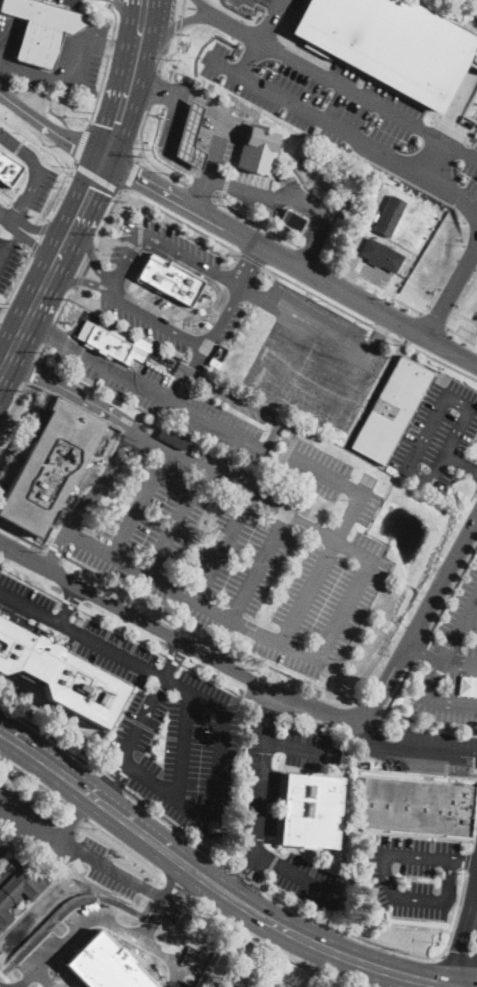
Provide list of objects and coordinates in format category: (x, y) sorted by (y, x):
parking lot: (70, 2)
road: (107, 2)
road: (179, 7)
road: (204, 7)
road: (237, 14)
road: (270, 17)
road: (116, 18)
road: (128, 18)
road: (268, 20)
road: (138, 21)
road: (172, 23)
road: (177, 24)
road: (464, 27)
road: (235, 28)
building: (42, 29)
building: (386, 44)
road: (6, 45)
road: (107, 46)
road: (135, 46)
road: (110, 47)
road: (168, 53)
road: (250, 58)
parking lot: (59, 60)
road: (55, 77)
road: (154, 87)
road: (153, 89)
road: (99, 92)
road: (368, 101)
road: (203, 102)
road: (453, 107)
parking lot: (346, 111)
parking lot: (476, 114)
road: (468, 116)
road: (51, 126)
road: (341, 129)
building: (190, 137)
gas station: (190, 137)
road: (113, 142)
road: (474, 144)
road: (81, 145)
road: (165, 145)
road: (18, 146)
road: (217, 146)
building: (258, 148)
parking lot: (231, 152)
road: (144, 154)
road: (474, 154)
road: (139, 156)
road: (432, 158)
road: (235, 159)
road: (43, 160)
traffic signals: (104, 161)
building: (8, 169)
road: (35, 173)
road: (131, 175)
road: (96, 176)
parking lot: (37, 186)
road: (239, 186)
road: (60, 192)
road: (200, 192)
road: (12, 193)
road: (200, 194)
road: (141, 212)
road: (272, 215)
road: (318, 215)
building: (390, 215)
road: (77, 216)
road: (6, 218)
road: (105, 219)
road: (178, 219)
building: (292, 221)
road: (256, 223)
road: (46, 226)
road: (120, 230)
road: (180, 232)
road: (39, 237)
road: (31, 244)
road: (8, 250)
road: (89, 253)
building: (381, 255)
road: (91, 256)
parking lot: (8, 259)
road: (251, 259)
road: (290, 262)
road: (125, 264)
road: (247, 264)
road: (85, 268)
road: (219, 275)
road: (353, 275)
building: (170, 278)
road: (17, 279)
road: (79, 280)
road: (78, 281)
road: (138, 282)
road: (451, 287)
parking lot: (120, 288)
road: (63, 302)
road: (460, 303)
road: (408, 305)
road: (2, 310)
road: (214, 313)
road: (195, 315)
road: (12, 318)
road: (156, 320)
road: (434, 320)
road: (304, 322)
road: (369, 323)
road: (465, 328)
road: (49, 332)
road: (460, 336)
road: (50, 337)
building: (112, 344)
road: (39, 351)
building: (160, 354)
road: (199, 358)
parking lot: (316, 359)
road: (314, 369)
road: (30, 370)
road: (366, 371)
road: (176, 378)
road: (73, 393)
road: (170, 400)
road: (296, 402)
parking lot: (191, 403)
road: (249, 403)
road: (13, 405)
building: (392, 408)
building: (302, 430)
parking lot: (439, 434)
building: (172, 438)
road: (461, 464)
building: (49, 466)
road: (408, 467)
road: (252, 496)
road: (471, 499)
road: (89, 500)
road: (140, 504)
road: (178, 523)
road: (339, 531)
road: (23, 538)
parking lot: (236, 545)
road: (223, 548)
road: (258, 566)
road: (453, 588)
road: (190, 598)
road: (67, 604)
road: (344, 607)
road: (21, 617)
road: (470, 621)
road: (421, 646)
road: (426, 648)
road: (459, 660)
road: (173, 661)
parking lot: (452, 661)
road: (436, 668)
building: (59, 675)
road: (279, 692)
road: (394, 694)
road: (211, 703)
road: (252, 703)
road: (269, 705)
parking lot: (146, 711)
road: (140, 722)
road: (430, 725)
road: (337, 729)
road: (48, 736)
road: (371, 737)
road: (183, 744)
parking lot: (433, 752)
road: (434, 753)
road: (34, 781)
road: (111, 781)
road: (107, 782)
road: (261, 785)
building: (416, 807)
parking lot: (258, 809)
building: (311, 809)
road: (80, 814)
parking lot: (24, 815)
road: (75, 816)
road: (29, 825)
road: (179, 831)
parking lot: (2, 848)
road: (417, 856)
road: (455, 859)
road: (313, 860)
road: (468, 861)
road: (275, 862)
road: (295, 871)
road: (242, 873)
parking lot: (414, 875)
road: (262, 876)
road: (249, 877)
road: (256, 881)
road: (176, 883)
building: (18, 886)
road: (216, 887)
road: (420, 896)
road: (163, 899)
road: (219, 915)
road: (74, 931)
road: (459, 946)
road: (411, 954)
road: (459, 958)
building: (269, 961)
road: (42, 980)
building: (232, 983)
building: (280, 985)
building: (311, 986)

